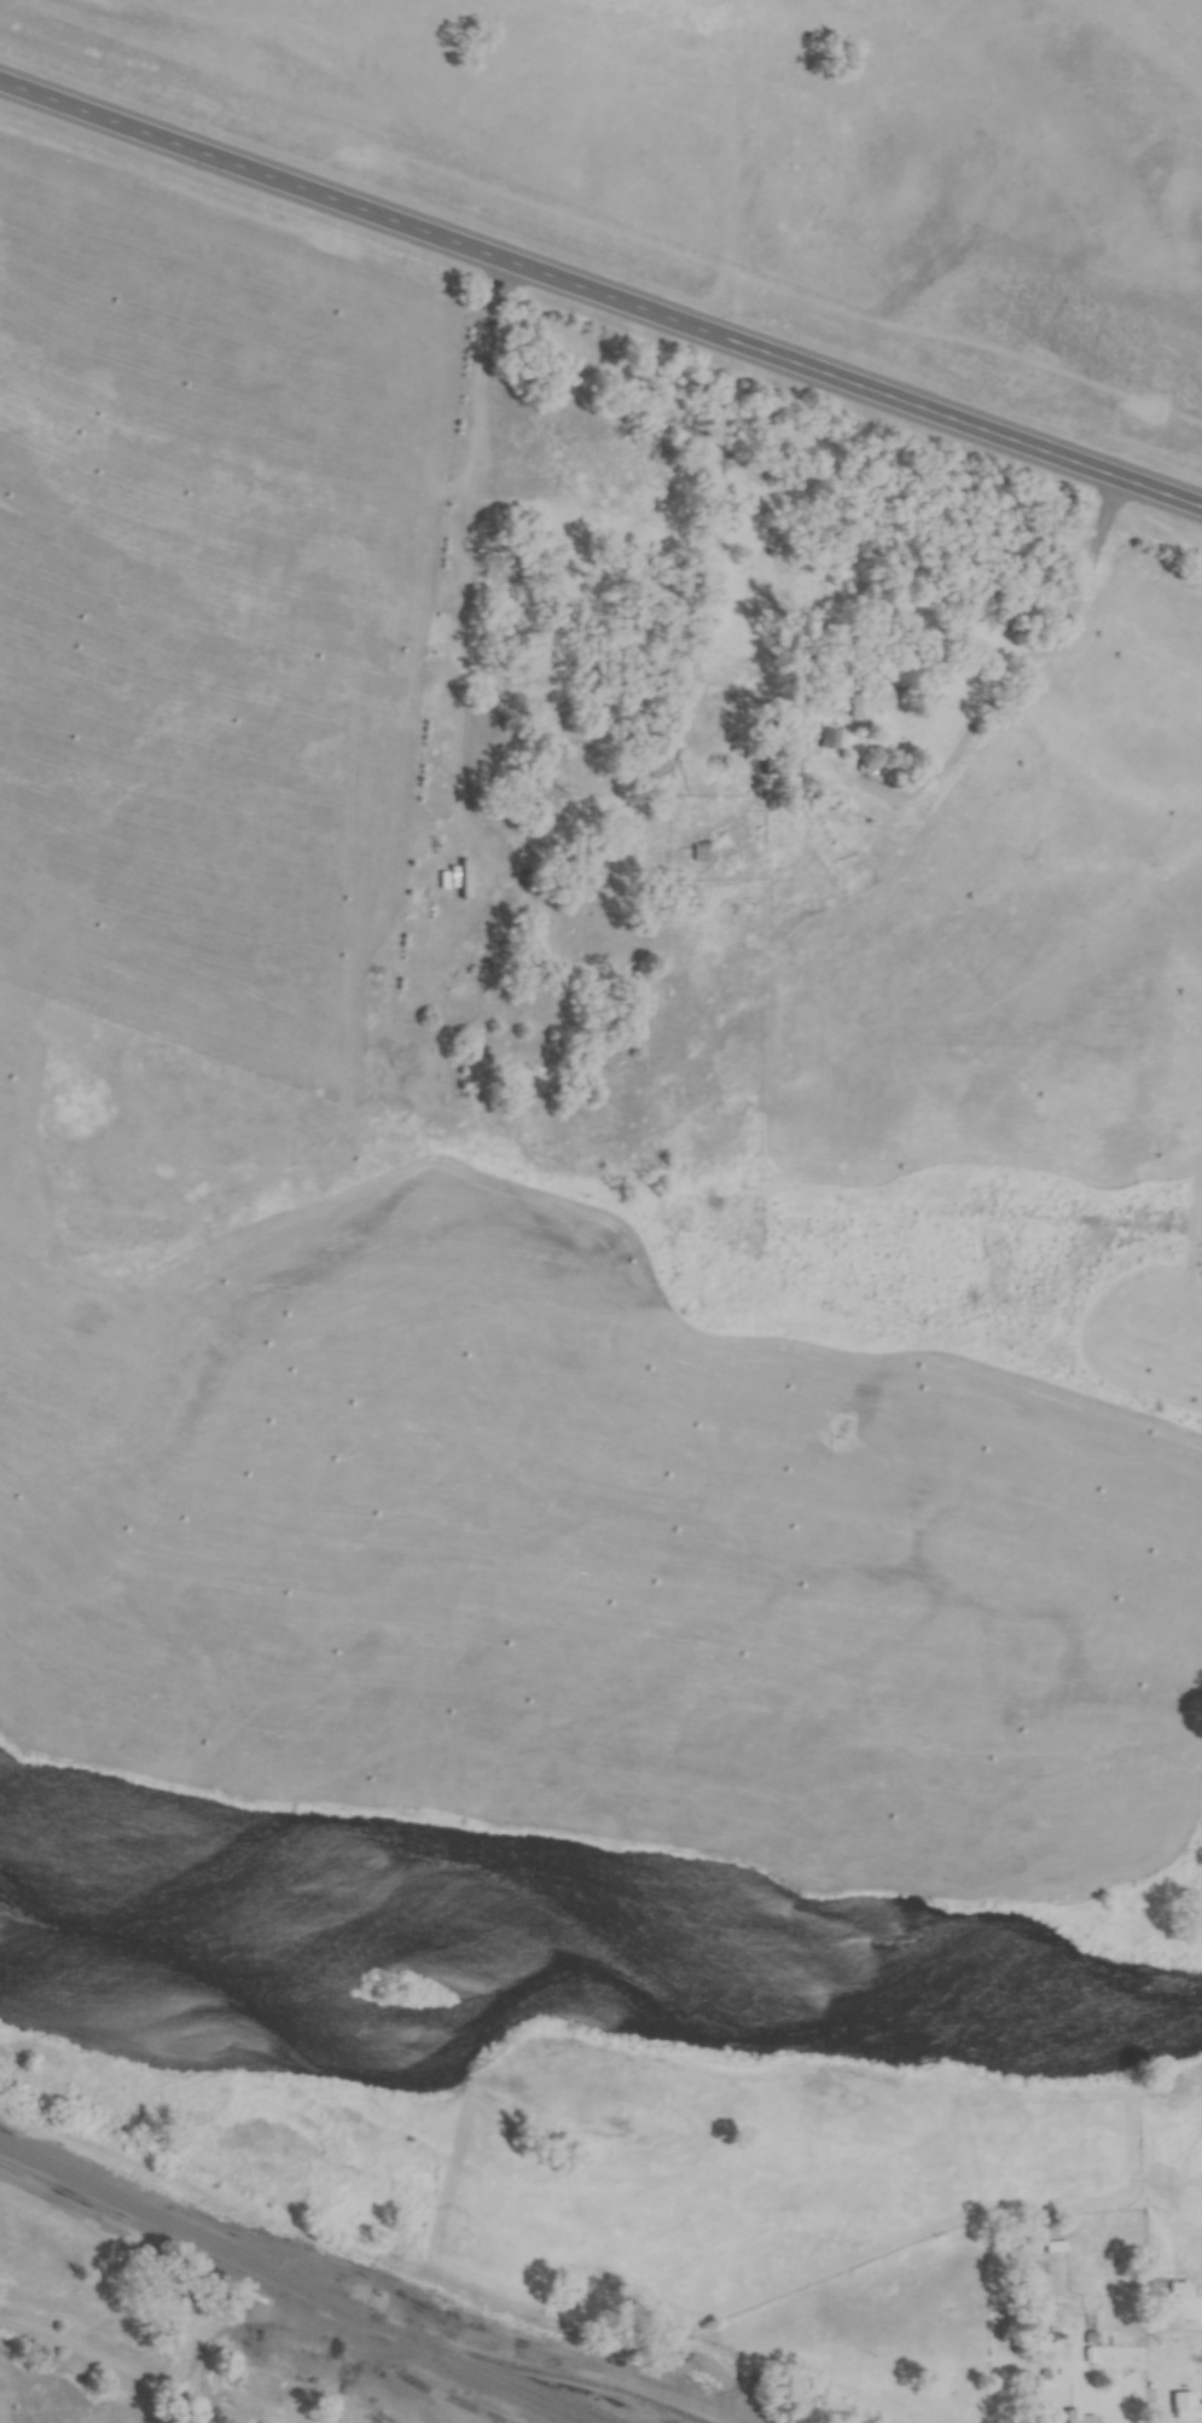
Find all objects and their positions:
road: (600, 296)
road: (991, 674)
building: (872, 703)
building: (703, 853)
river: (596, 1973)
building: (1058, 2248)
railway: (292, 2285)
road: (132, 2378)
building: (1190, 2413)
building: (1081, 2418)

